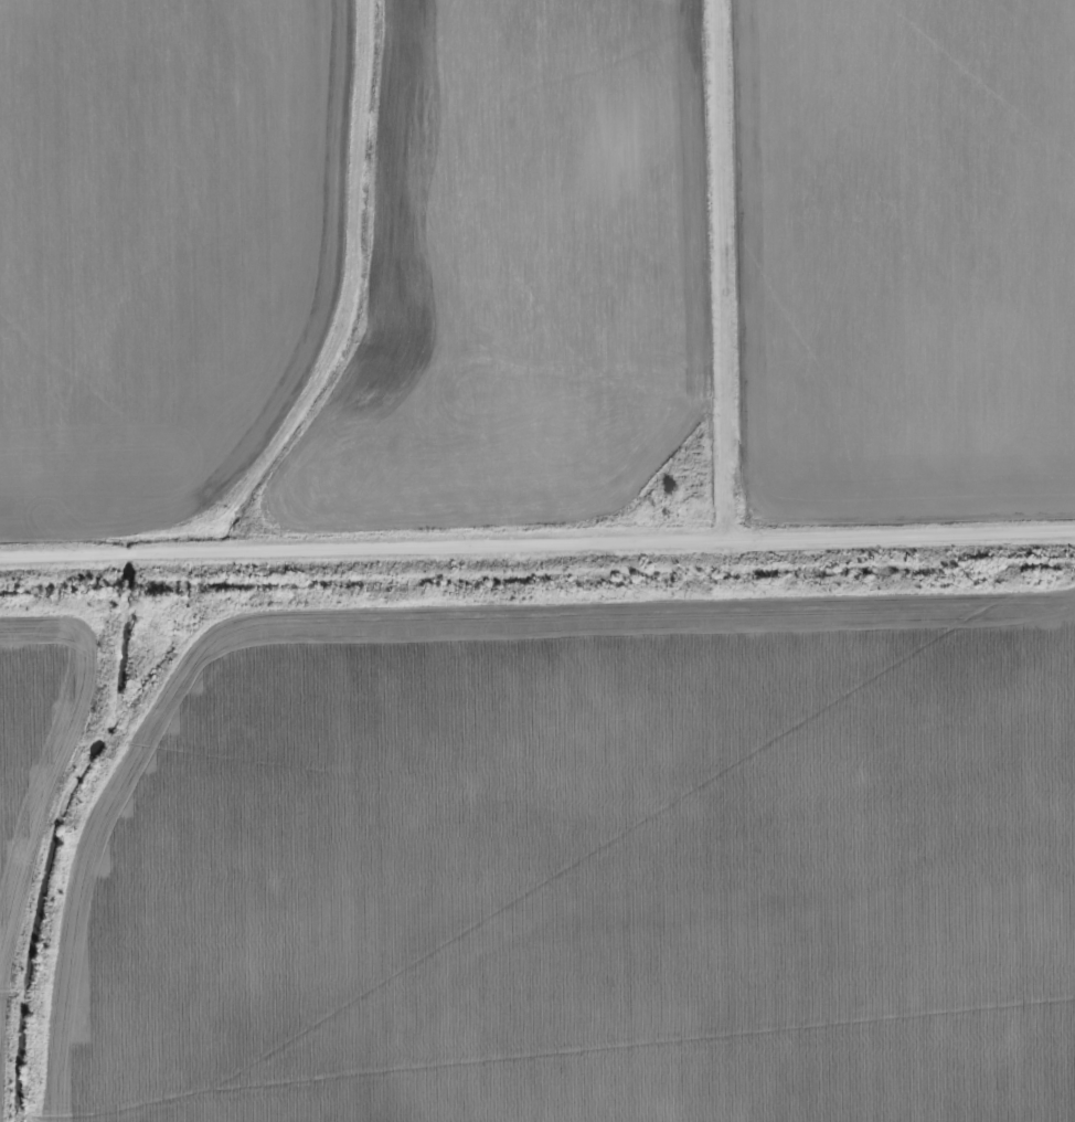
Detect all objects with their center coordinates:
road: (741, 269)
road: (537, 543)

